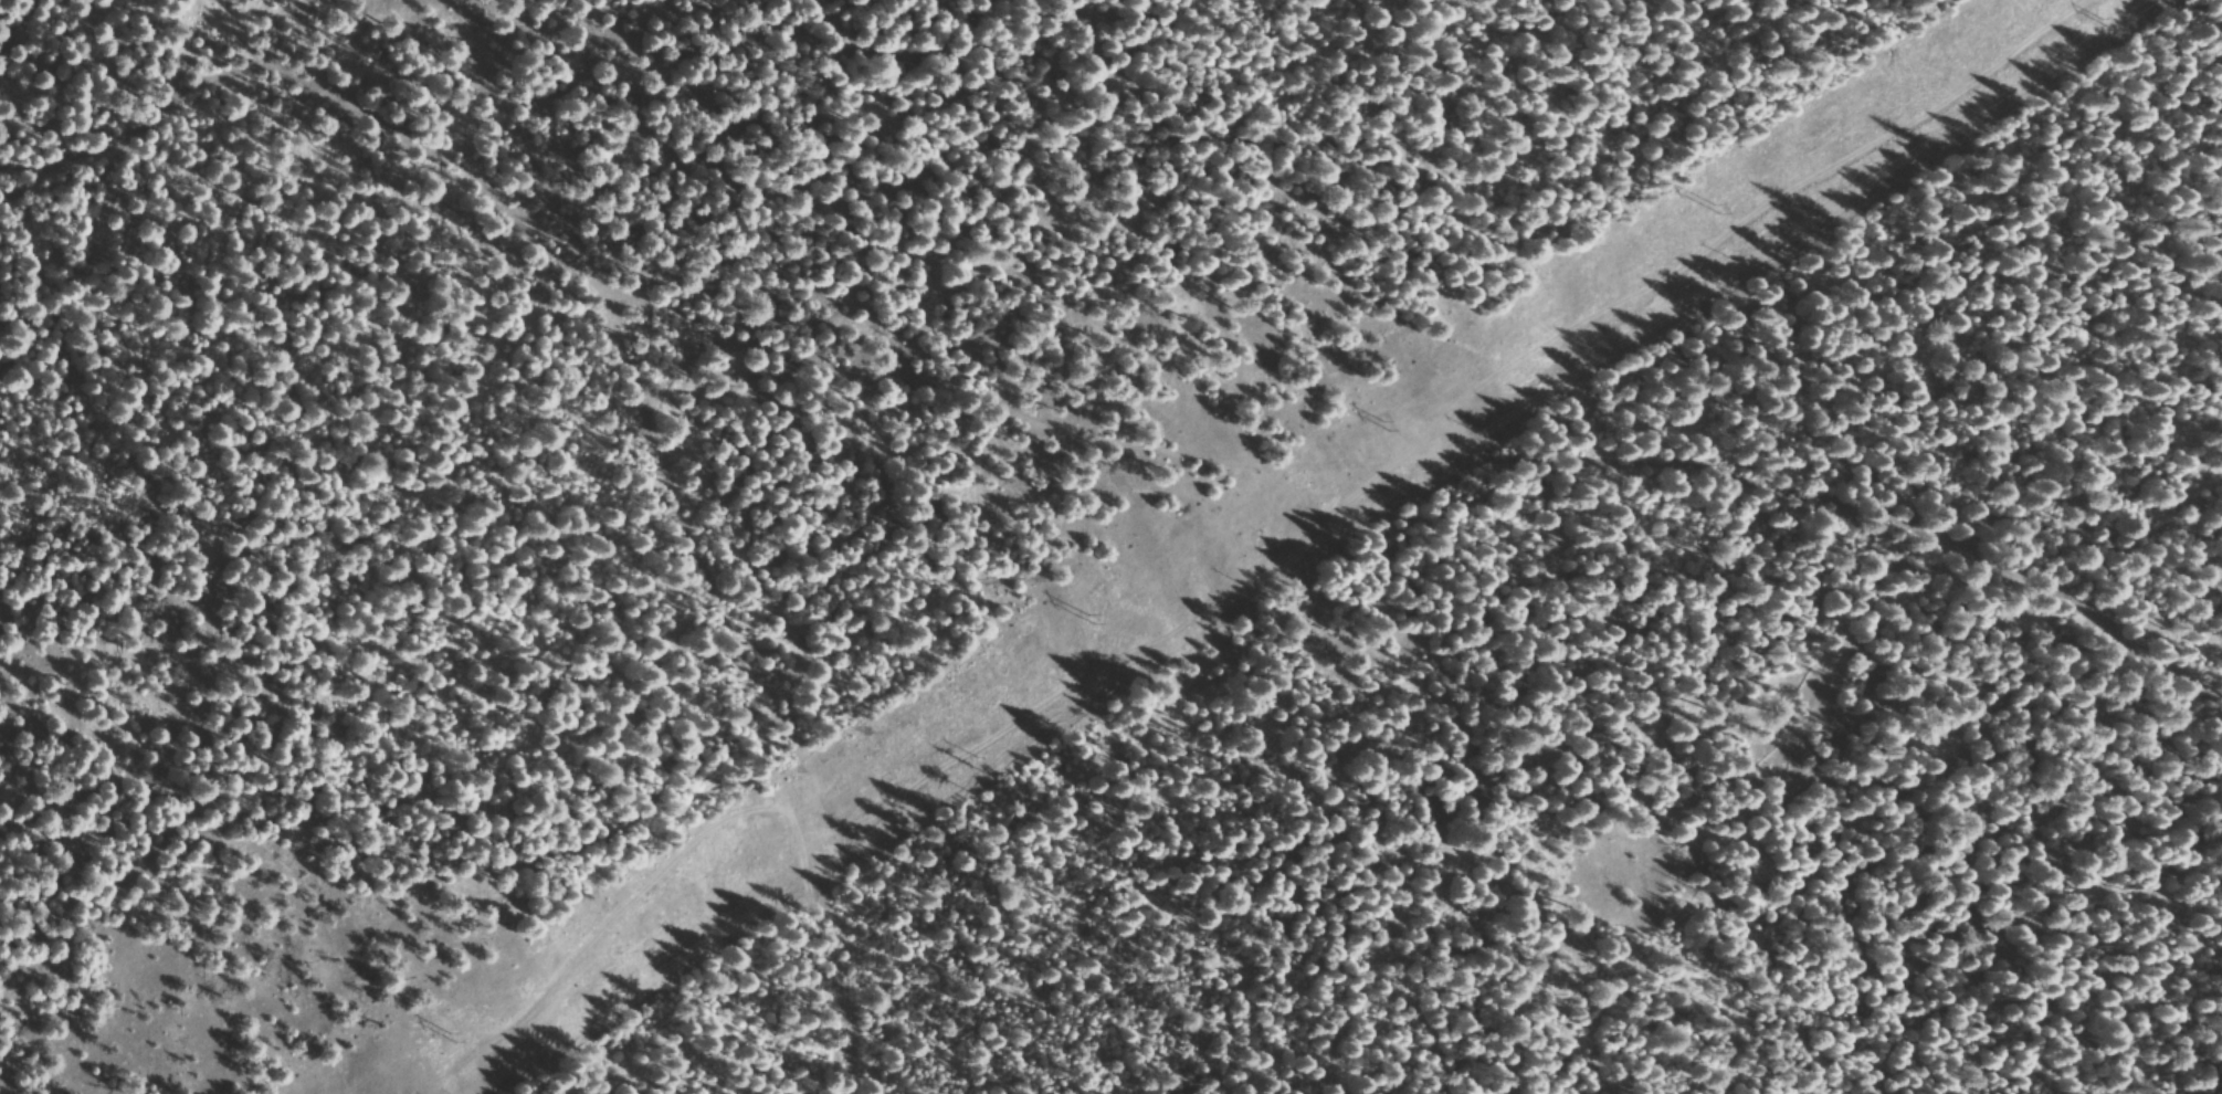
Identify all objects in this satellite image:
road: (49, 24)
power tower: (2105, 24)
power tower: (1710, 204)
power tower: (1384, 423)
road: (1147, 463)
road: (754, 524)
power tower: (1088, 616)
power tower: (454, 1034)

